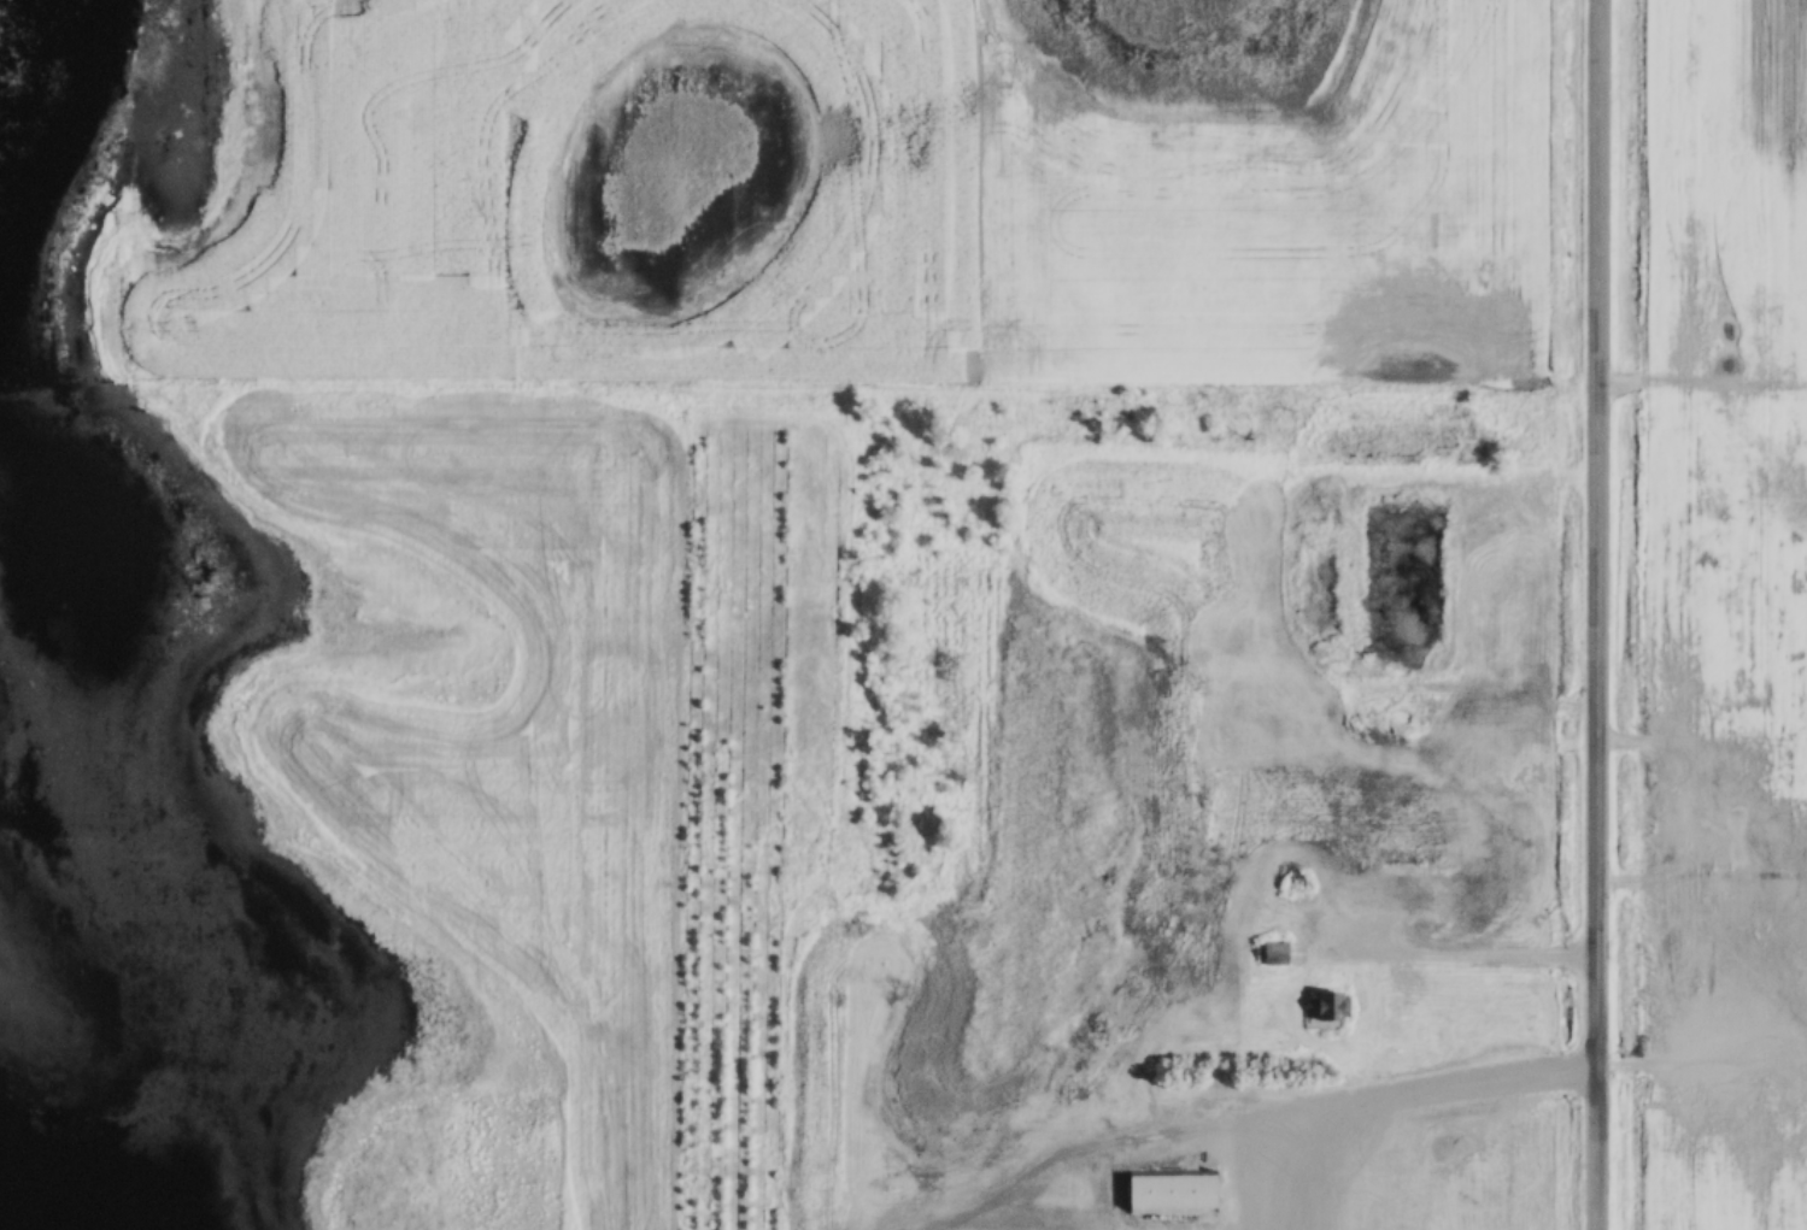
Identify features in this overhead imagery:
road: (1602, 614)
building: (1272, 954)
road: (1457, 957)
building: (1330, 1008)

